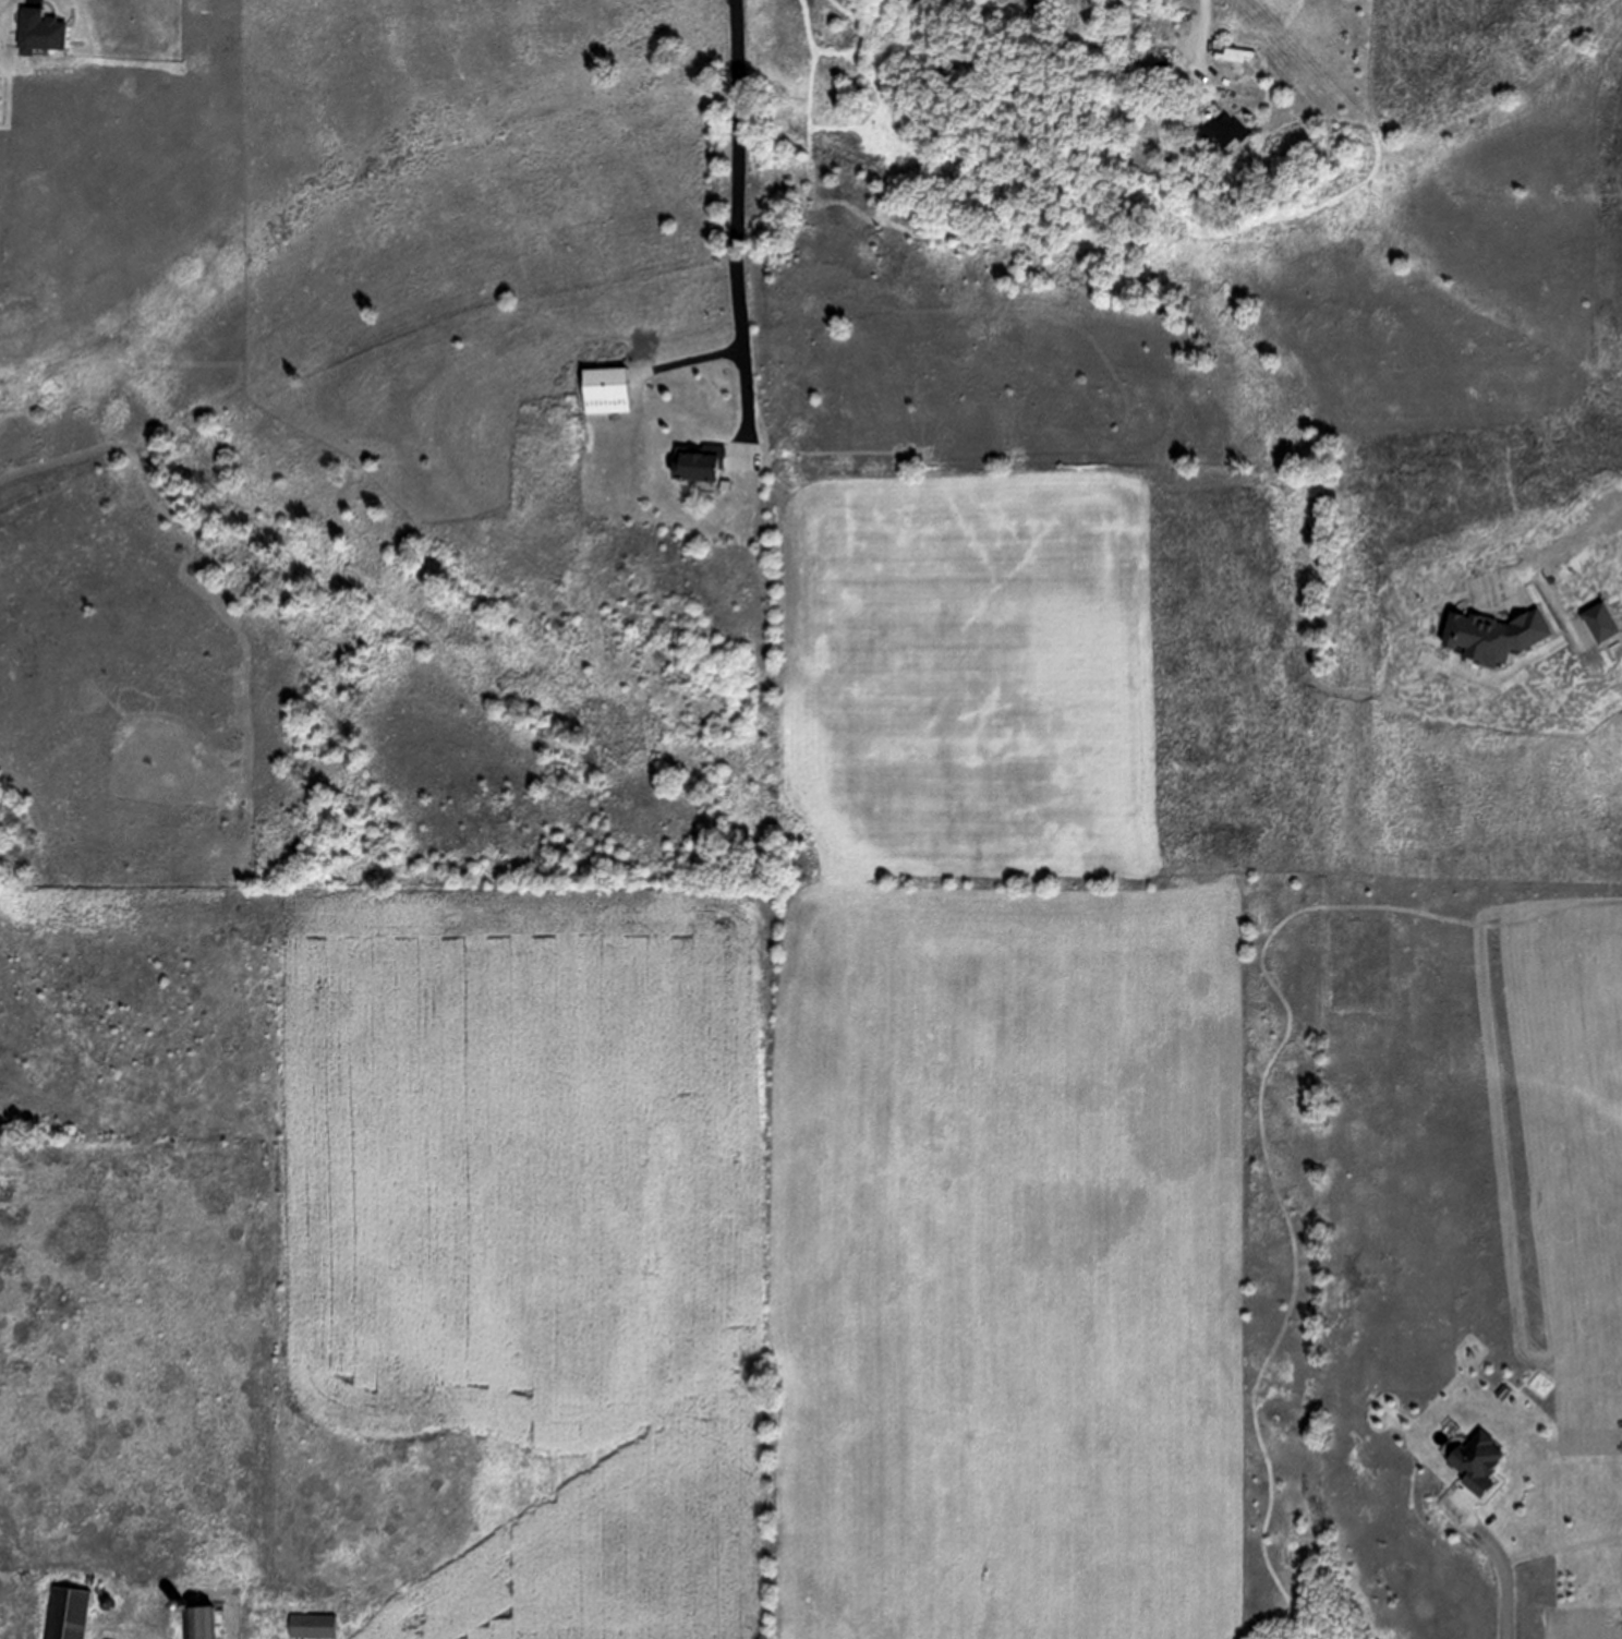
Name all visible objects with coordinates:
road: (32, 1)
building: (1114, 2)
building: (1184, 2)
building: (1136, 3)
building: (1150, 3)
building: (1166, 3)
building: (38, 33)
building: (1134, 37)
building: (1165, 38)
building: (1187, 38)
road: (1206, 41)
building: (1226, 131)
road: (737, 226)
road: (690, 359)
building: (607, 391)
building: (698, 463)
building: (1503, 1393)
building: (1477, 1462)
road: (1504, 1562)
building: (68, 1614)
building: (198, 1623)
road: (129, 1626)
building: (314, 1626)

